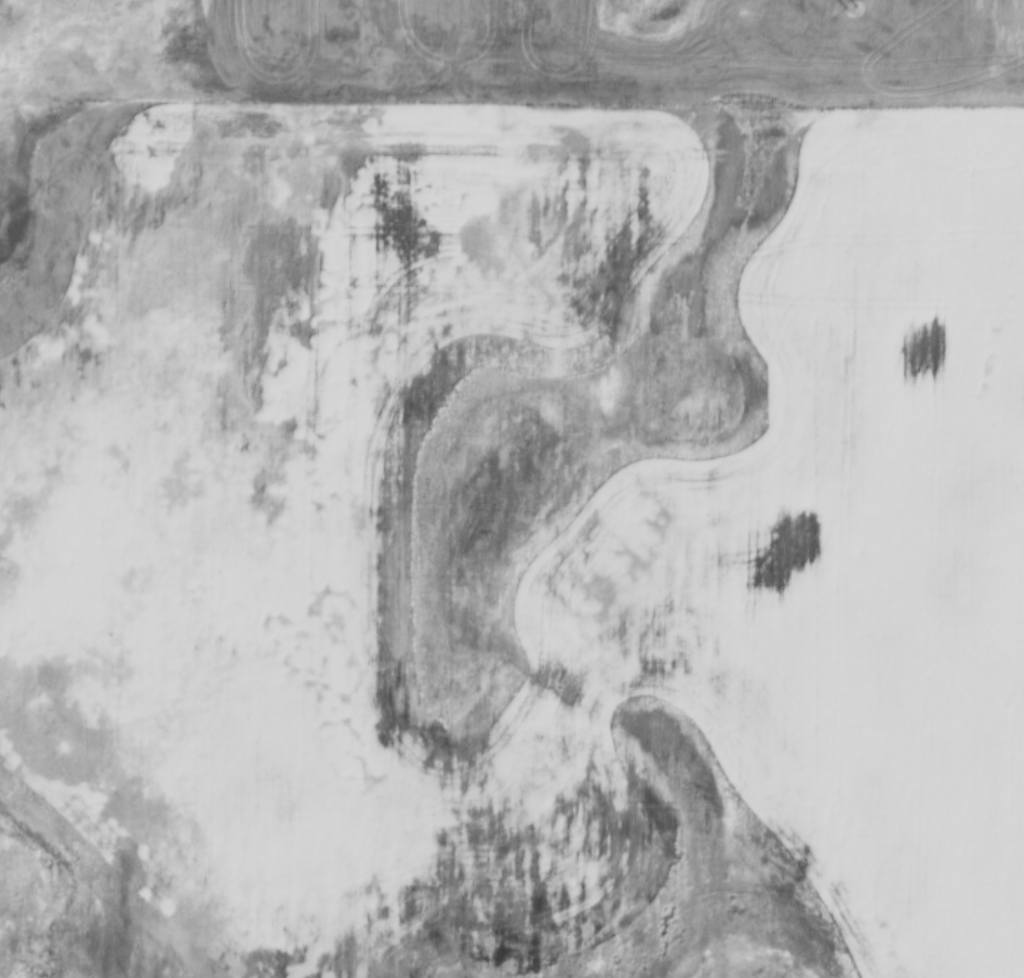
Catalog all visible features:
power tower: (850, 8)

